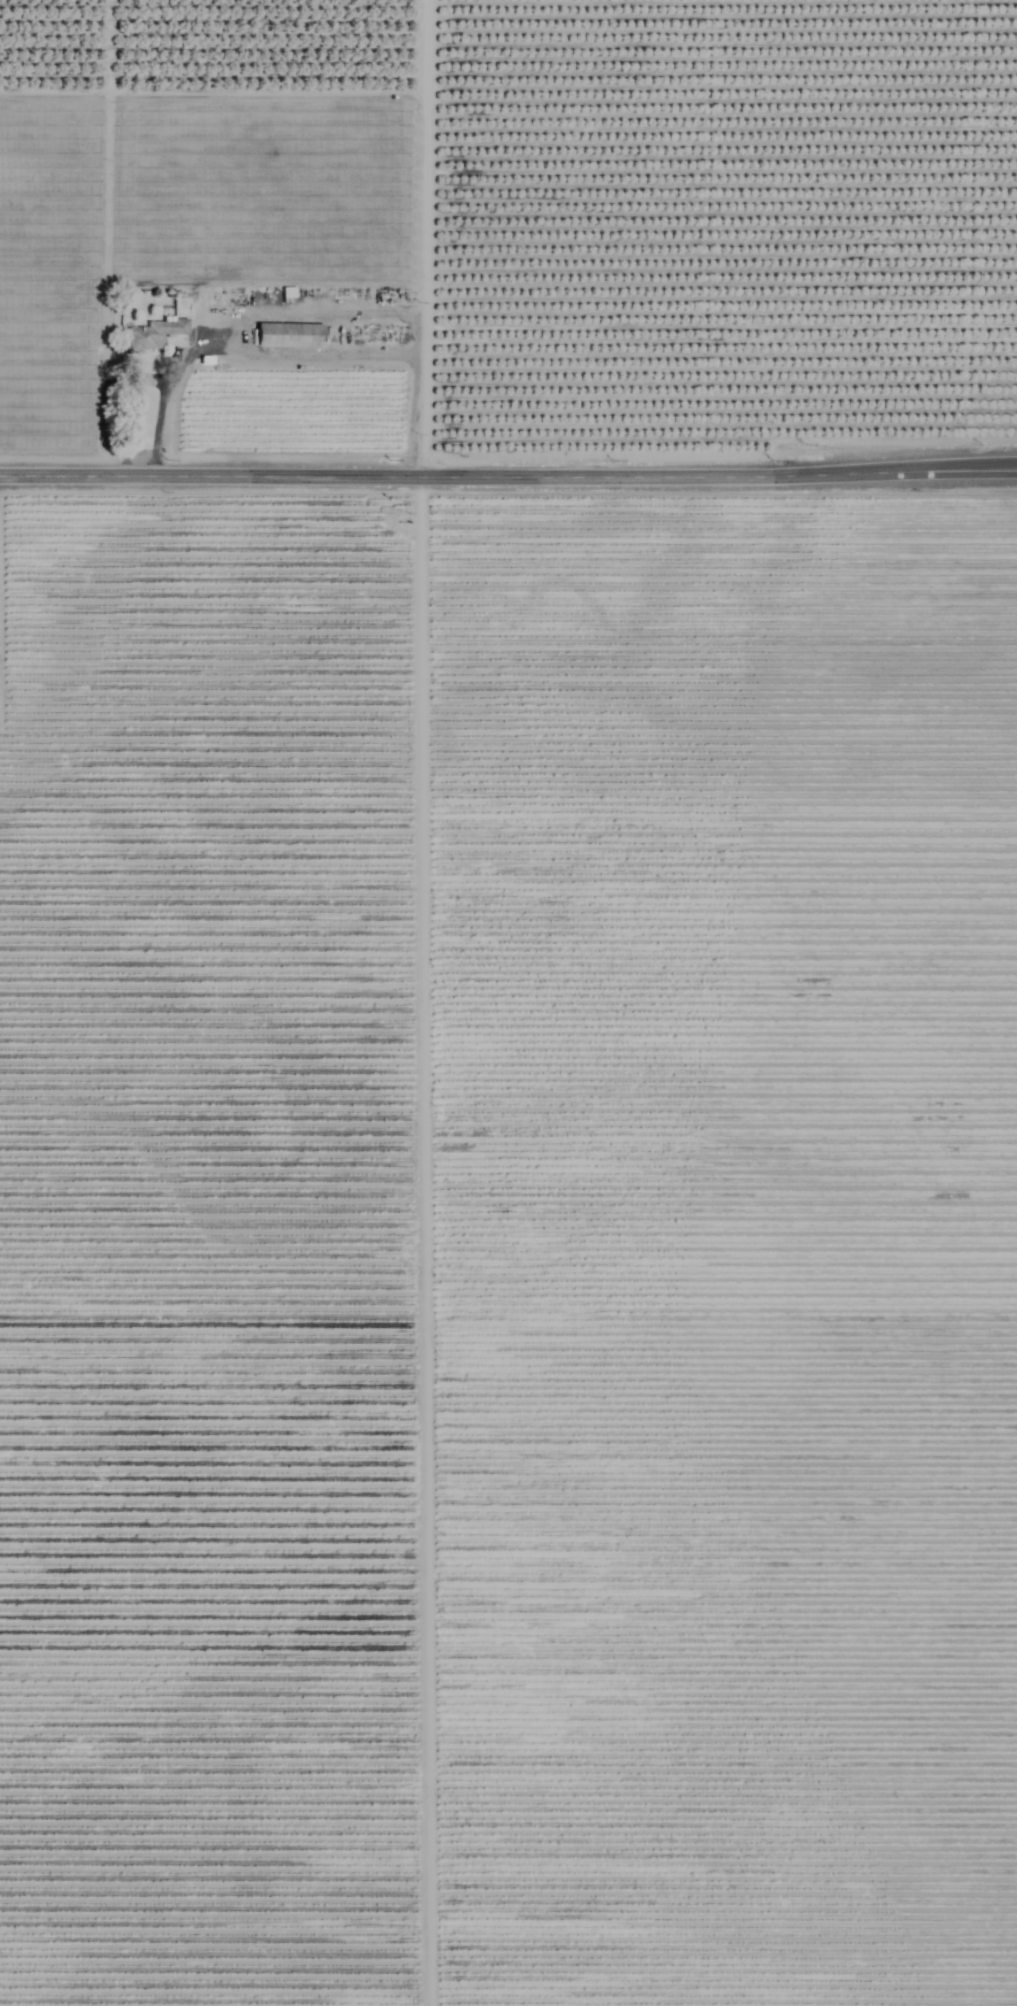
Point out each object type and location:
road: (423, 238)
road: (234, 320)
building: (150, 333)
building: (283, 335)
road: (312, 355)
road: (508, 474)
road: (418, 1240)

